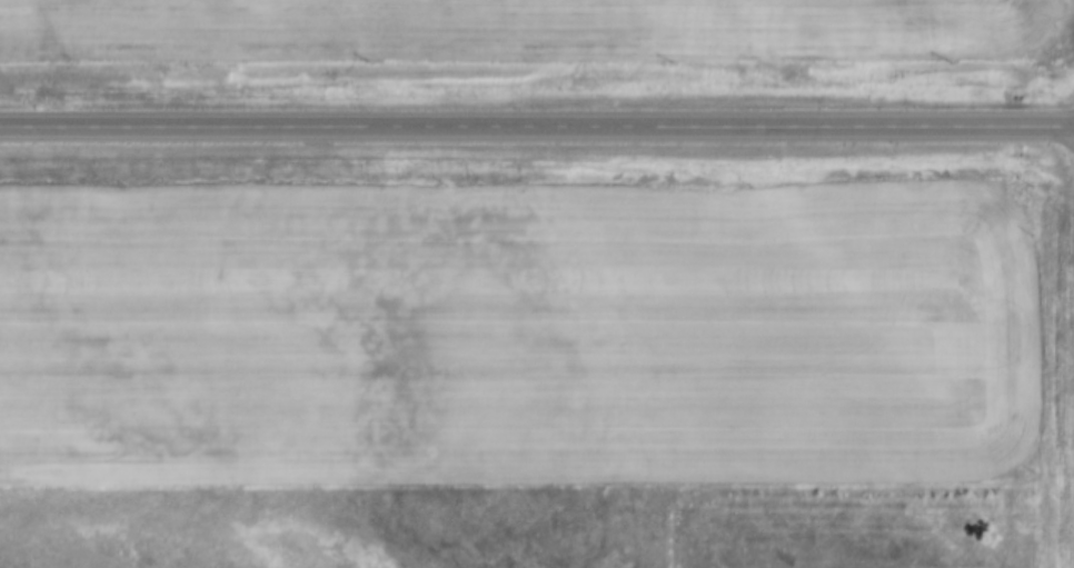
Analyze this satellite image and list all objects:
road: (536, 127)

